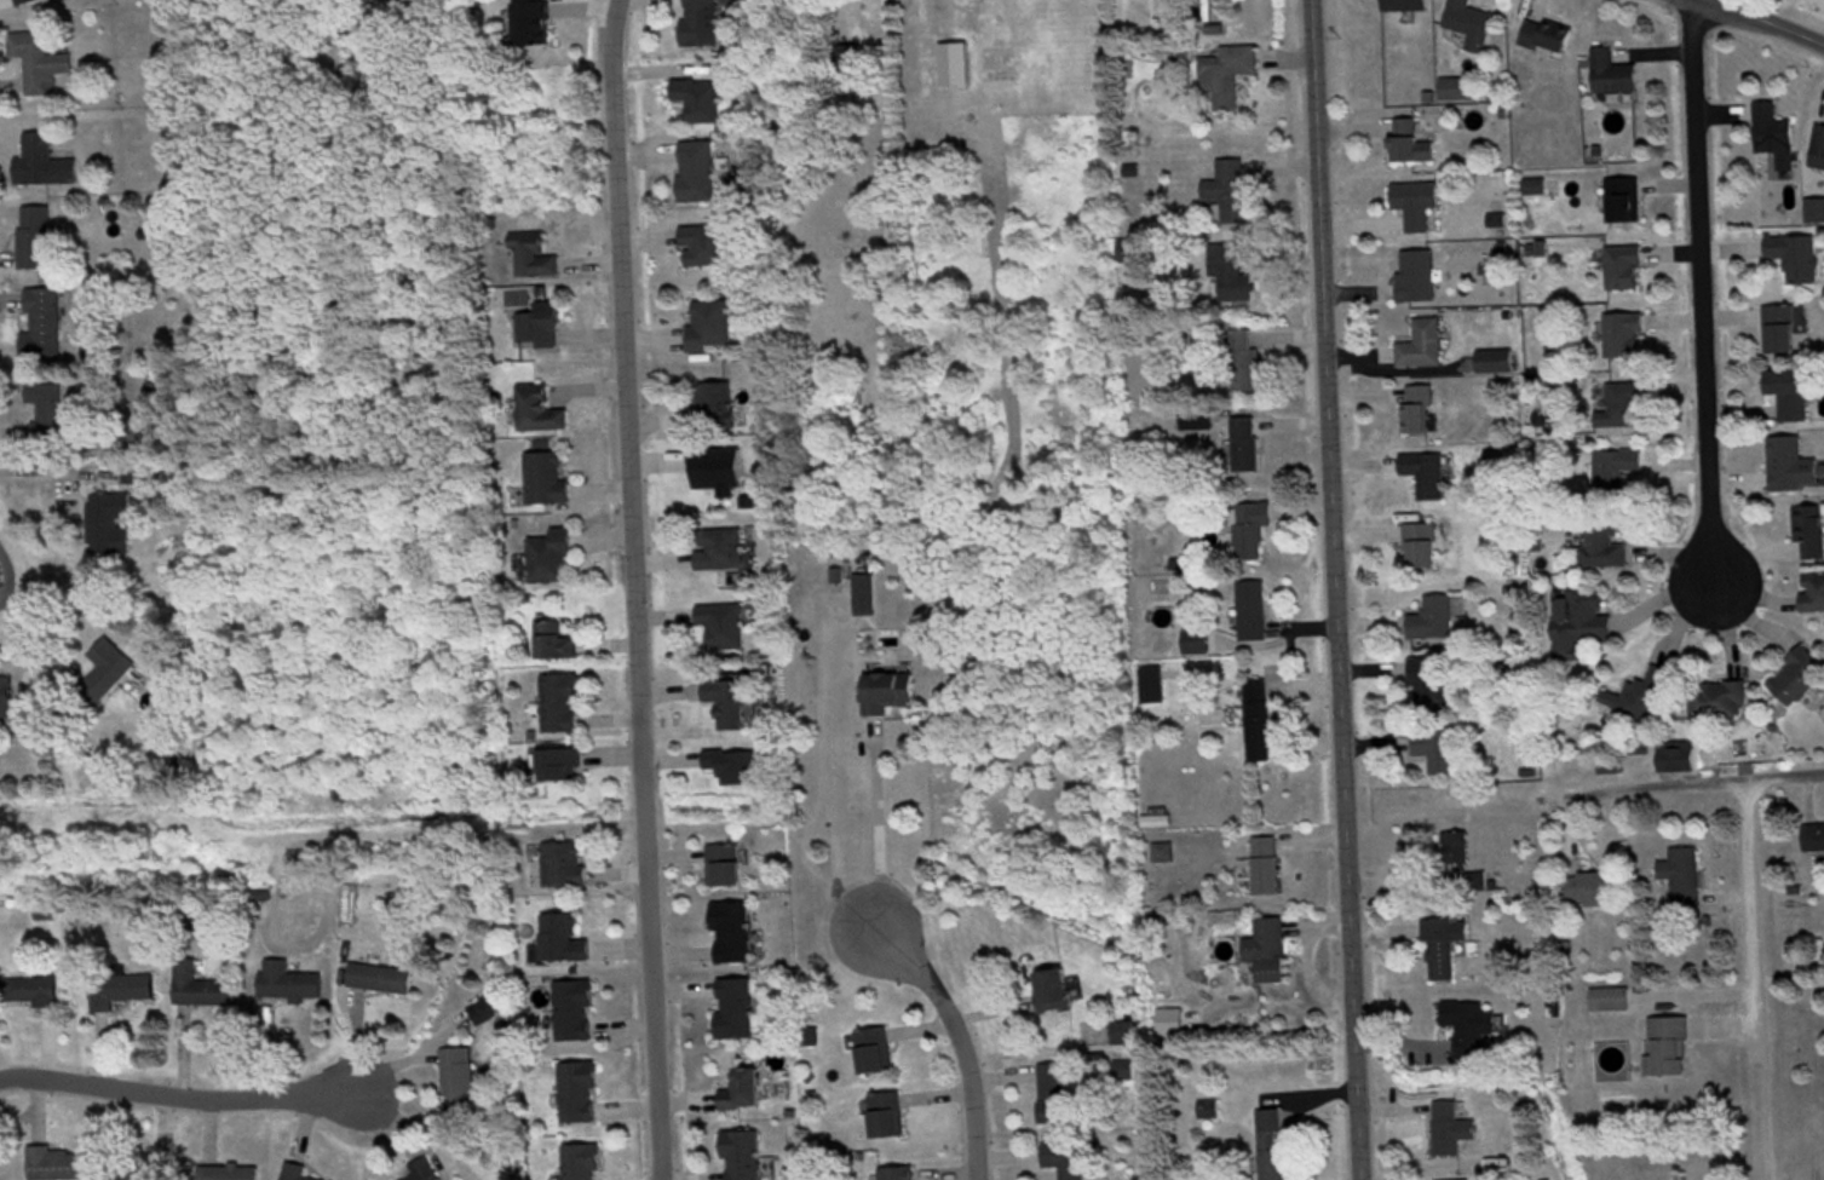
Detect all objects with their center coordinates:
building: (27, 2)
building: (404, 4)
building: (1405, 6)
road: (1761, 22)
building: (702, 24)
building: (534, 25)
building: (1471, 25)
road: (1820, 34)
building: (1546, 38)
building: (40, 64)
building: (851, 64)
building: (955, 67)
building: (1615, 76)
building: (1227, 77)
building: (389, 82)
building: (1460, 91)
building: (701, 102)
building: (1777, 137)
building: (1412, 145)
building: (1819, 151)
building: (44, 166)
building: (700, 173)
building: (1231, 192)
building: (1626, 202)
building: (1417, 206)
building: (36, 240)
building: (706, 247)
building: (1129, 252)
building: (535, 259)
building: (1796, 259)
building: (1624, 270)
building: (1231, 275)
building: (1417, 278)
road: (1699, 290)
building: (712, 324)
building: (44, 327)
building: (543, 328)
building: (1782, 332)
building: (1624, 336)
building: (1423, 347)
building: (1244, 362)
building: (1497, 363)
building: (160, 385)
building: (1793, 396)
building: (1626, 402)
building: (715, 407)
building: (50, 411)
building: (1419, 411)
building: (541, 413)
building: (1247, 445)
building: (1793, 467)
building: (1621, 471)
building: (1432, 479)
building: (548, 480)
building: (110, 526)
building: (1253, 531)
building: (1811, 533)
building: (1604, 547)
building: (1422, 548)
building: (721, 552)
building: (552, 560)
road: (632, 589)
road: (1331, 589)
building: (1813, 595)
building: (867, 597)
building: (1254, 612)
building: (1434, 622)
building: (1581, 626)
building: (725, 628)
building: (557, 644)
building: (111, 672)
building: (1799, 680)
building: (1433, 683)
building: (1155, 689)
building: (891, 695)
building: (1639, 700)
building: (7, 702)
building: (1719, 703)
building: (730, 706)
building: (562, 707)
building: (1260, 723)
building: (1439, 753)
building: (1639, 760)
building: (564, 767)
building: (736, 769)
road: (1696, 783)
building: (1814, 839)
building: (1460, 853)
building: (1164, 856)
building: (566, 869)
building: (727, 869)
building: (1268, 869)
building: (1685, 880)
building: (1593, 892)
road: (1751, 927)
building: (733, 936)
building: (564, 942)
building: (1445, 950)
building: (1271, 952)
building: (382, 980)
building: (289, 985)
building: (203, 990)
building: (35, 992)
building: (121, 992)
building: (1055, 994)
building: (1612, 1003)
building: (737, 1012)
building: (576, 1014)
building: (1471, 1031)
road: (956, 1041)
building: (1669, 1049)
building: (876, 1054)
building: (1124, 1073)
building: (460, 1086)
building: (744, 1093)
building: (580, 1095)
road: (178, 1096)
building: (1053, 1096)
building: (1209, 1112)
building: (888, 1118)
building: (1452, 1133)
building: (1272, 1147)
building: (743, 1156)
building: (1066, 1161)
building: (583, 1163)
building: (58, 1164)
building: (143, 1172)
building: (424, 1172)
building: (230, 1173)
building: (295, 1173)
building: (898, 1175)

